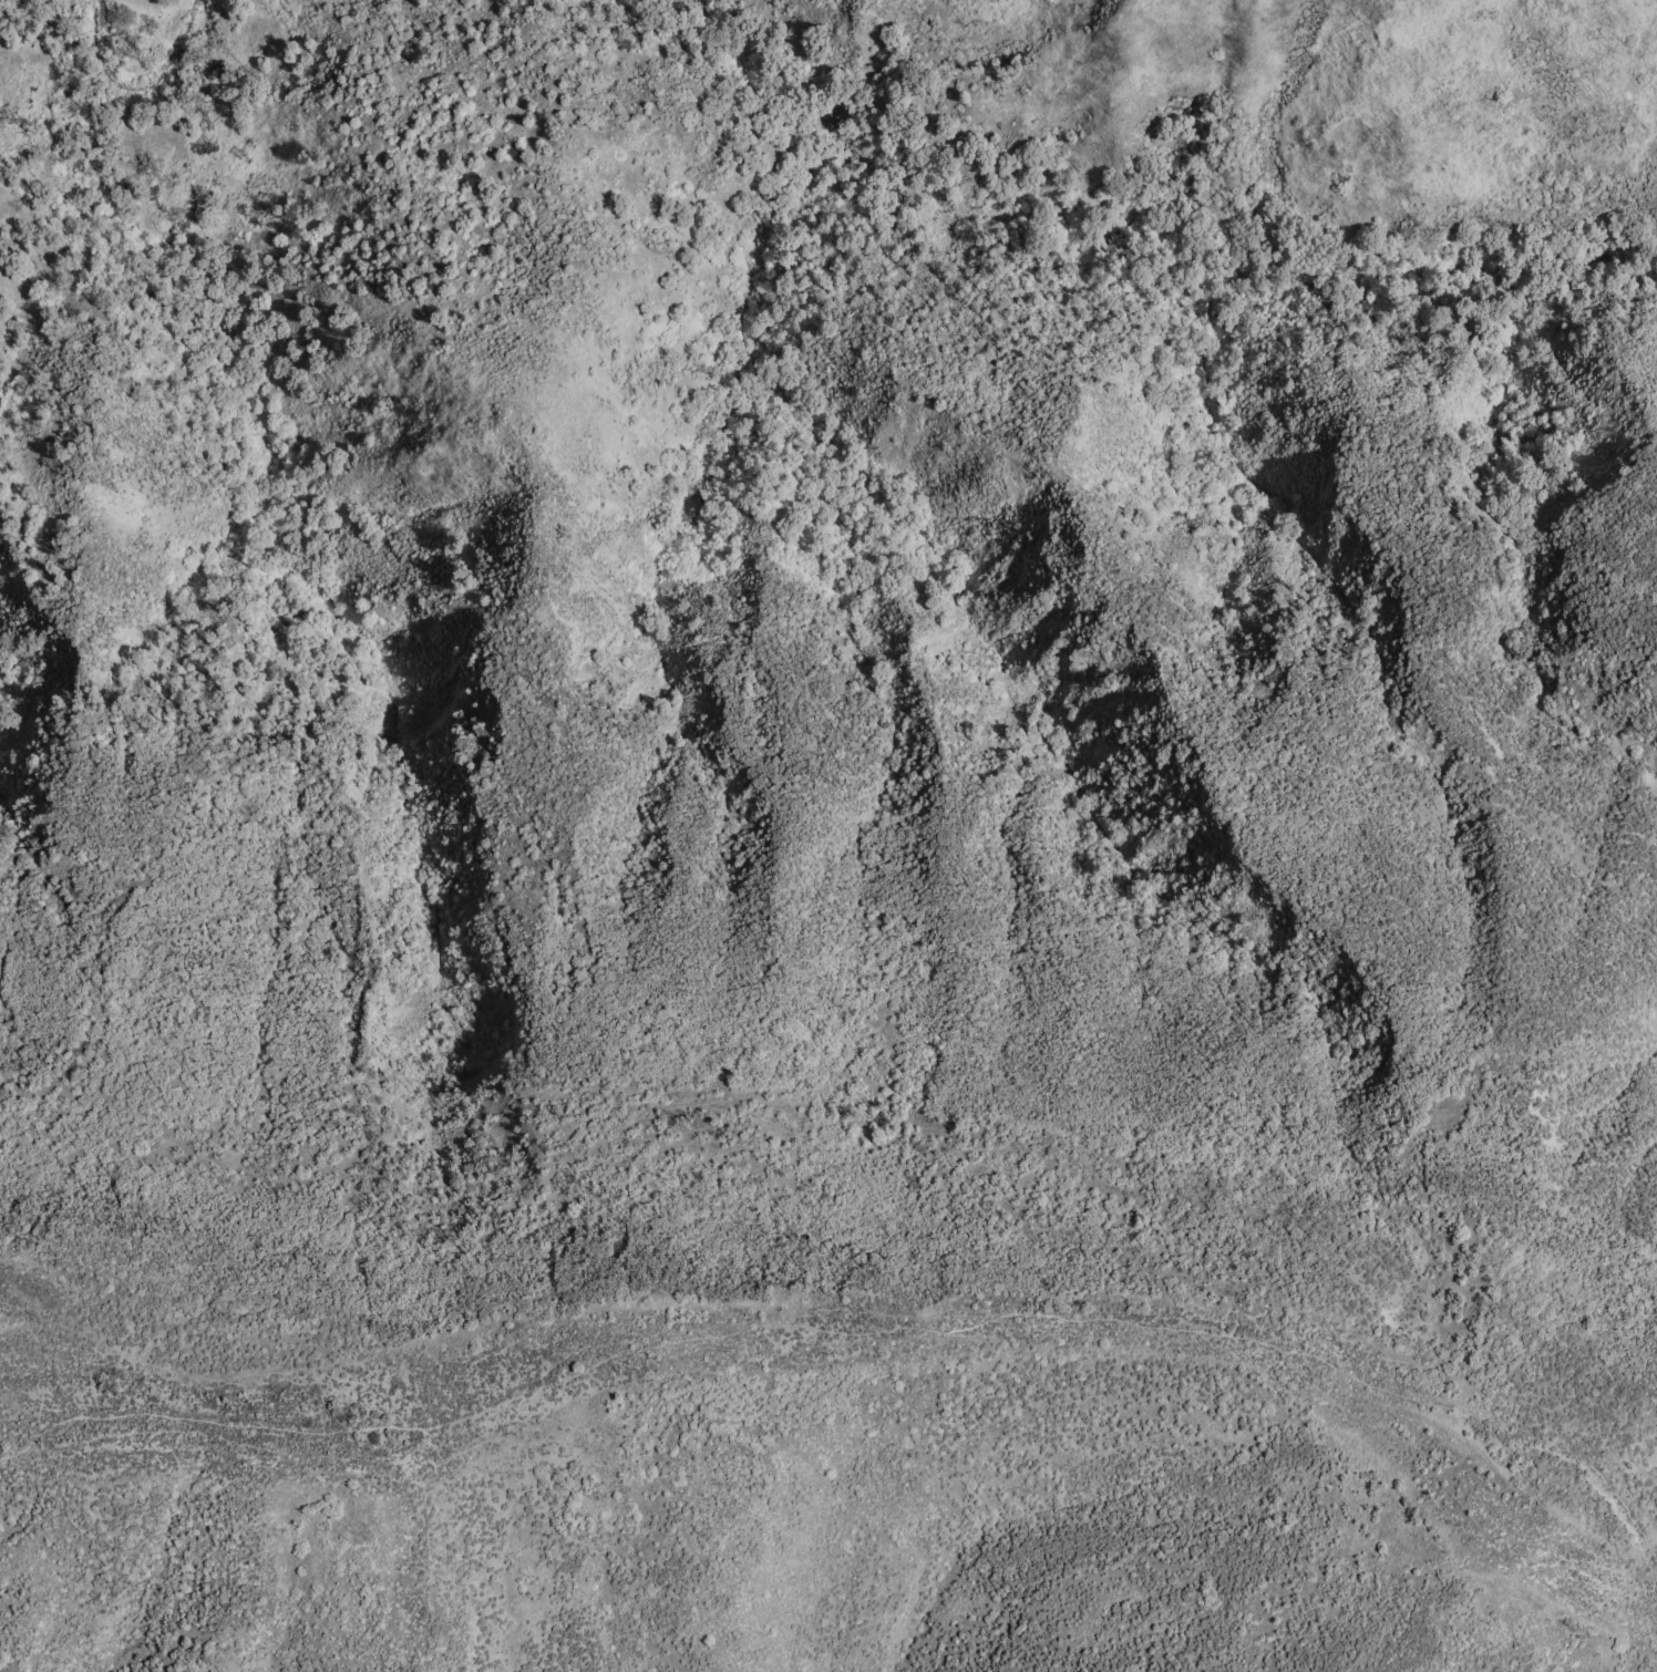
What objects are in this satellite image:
road: (852, 1330)

